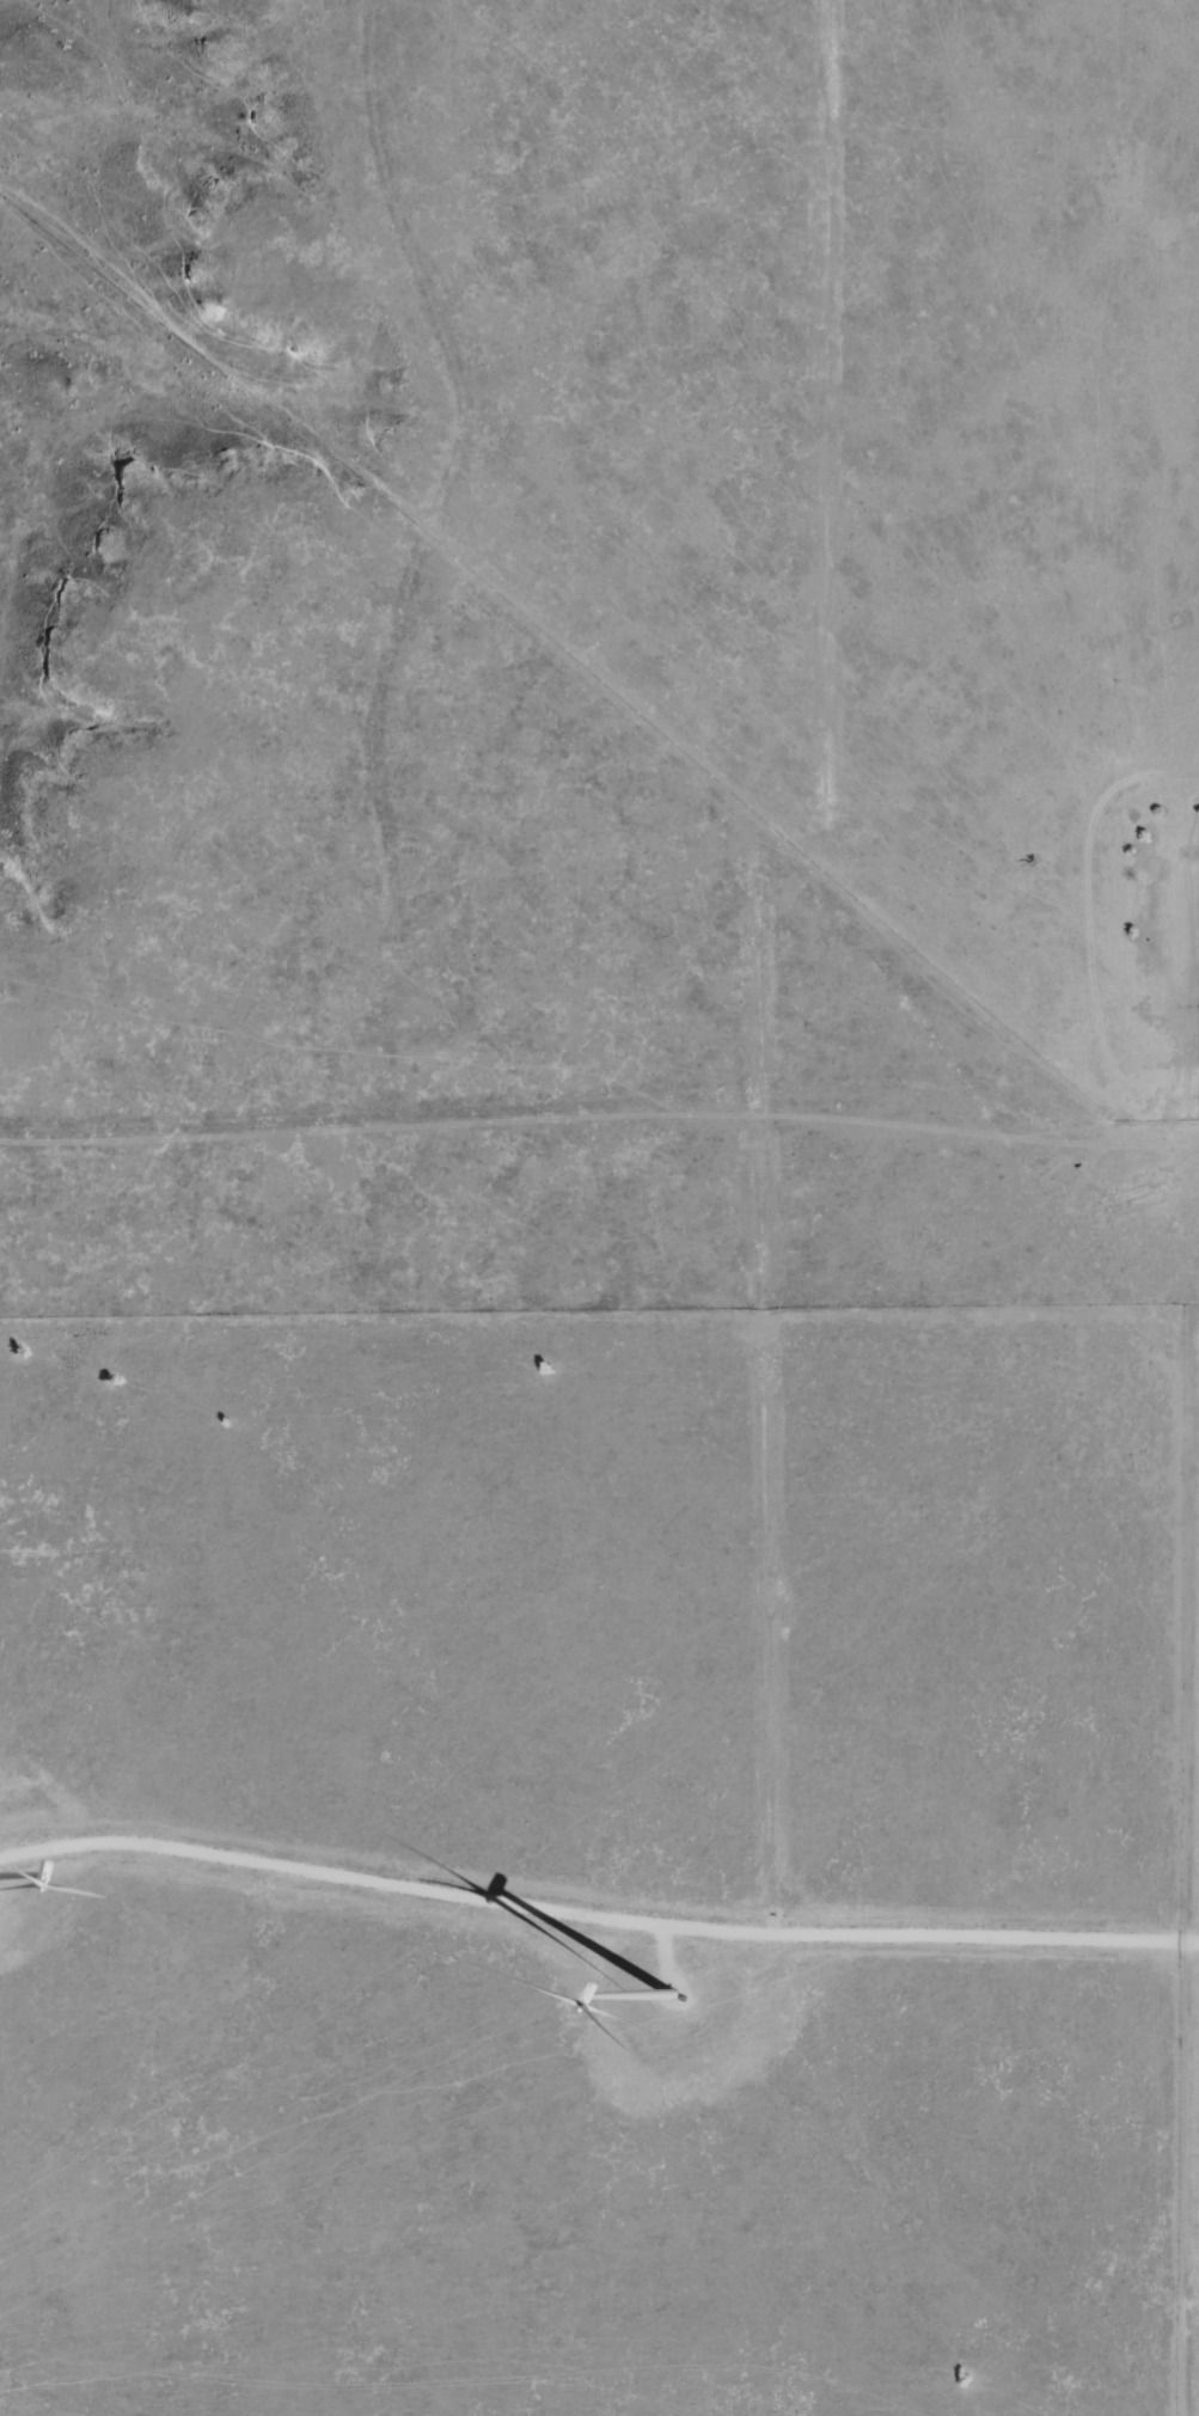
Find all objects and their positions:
wind turbine: (669, 1988)

